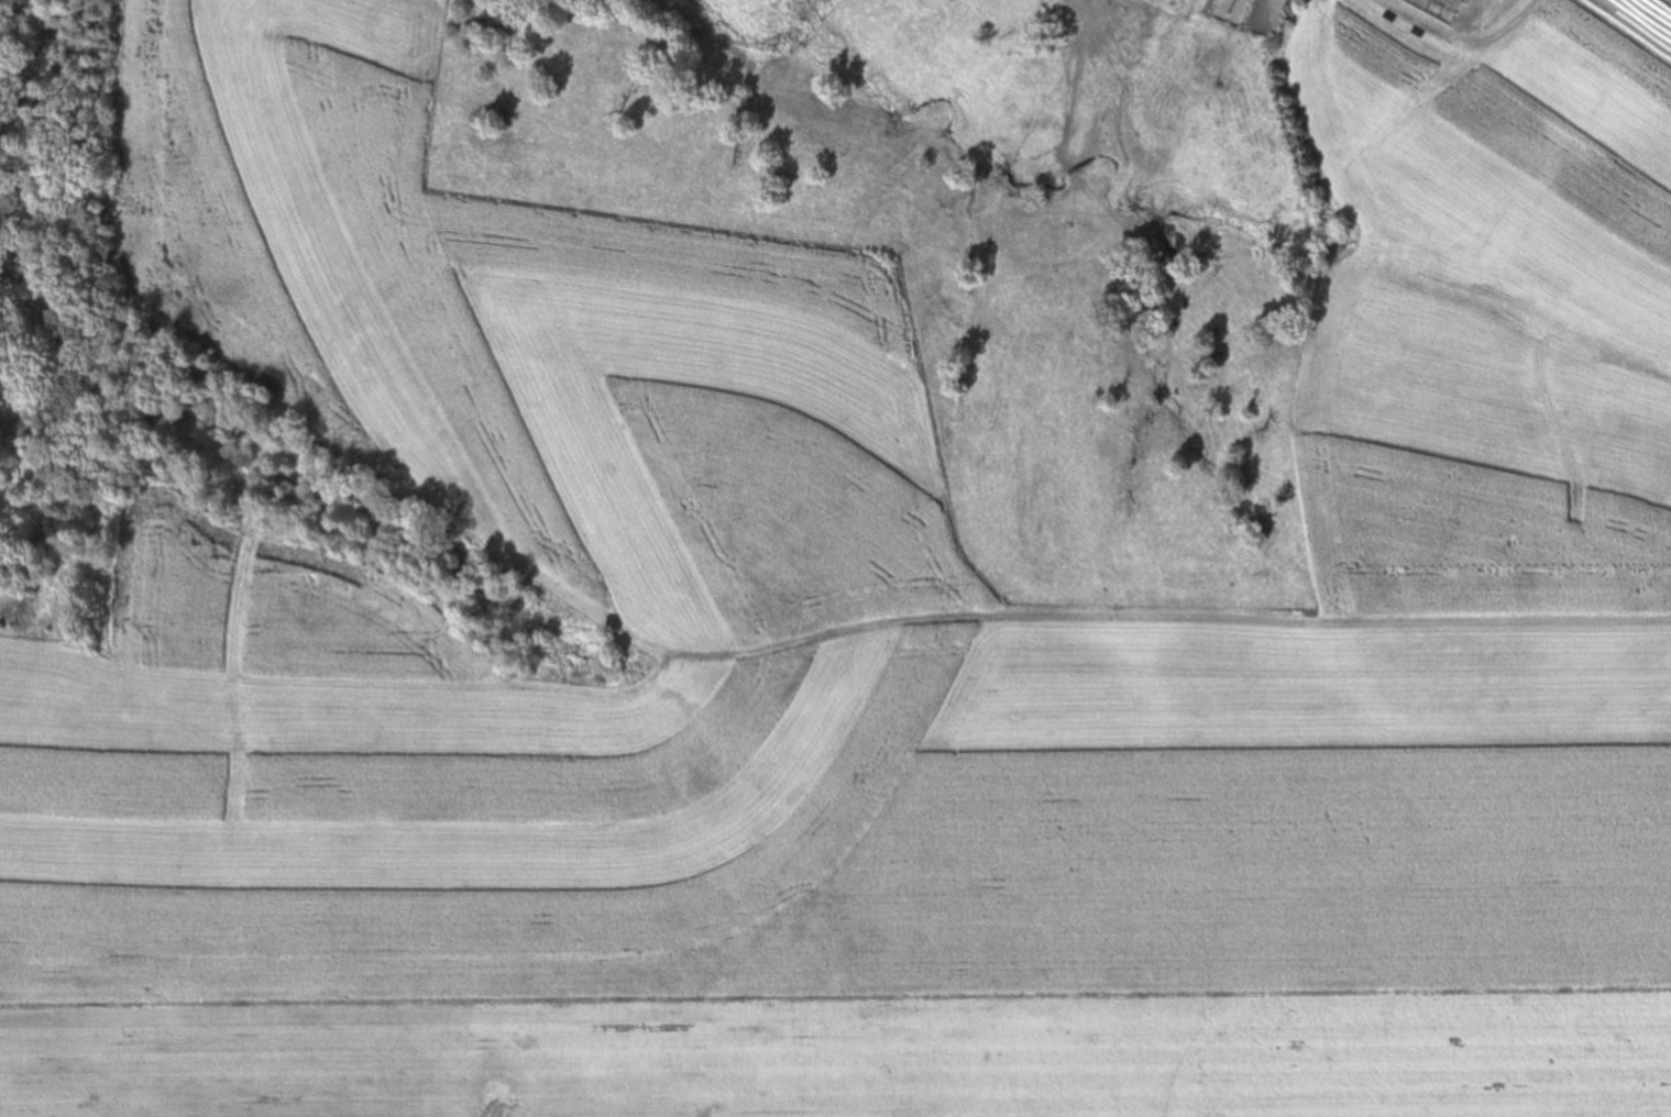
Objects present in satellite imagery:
building: (1462, 0)

